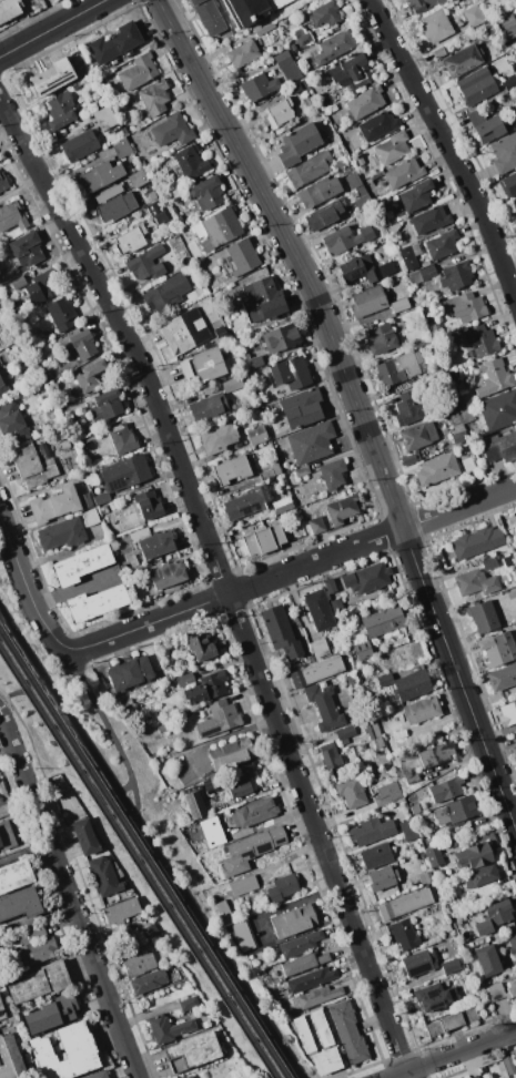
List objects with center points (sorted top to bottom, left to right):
building: (421, 4)
building: (8, 9)
building: (252, 10)
building: (325, 13)
building: (209, 16)
building: (474, 16)
building: (435, 26)
building: (506, 26)
building: (263, 27)
road: (51, 28)
building: (486, 29)
building: (304, 39)
building: (114, 42)
building: (335, 45)
building: (293, 47)
building: (438, 52)
building: (242, 53)
building: (462, 60)
building: (287, 65)
building: (82, 71)
building: (139, 71)
building: (350, 72)
building: (52, 77)
building: (509, 83)
building: (476, 85)
building: (257, 87)
building: (295, 89)
building: (154, 96)
building: (365, 102)
building: (326, 103)
building: (60, 110)
building: (330, 110)
building: (277, 113)
building: (104, 118)
building: (377, 125)
building: (486, 125)
building: (171, 130)
building: (297, 144)
building: (79, 145)
building: (121, 148)
building: (392, 148)
road: (448, 148)
building: (505, 153)
building: (375, 159)
building: (360, 160)
building: (189, 163)
building: (341, 164)
building: (310, 170)
building: (404, 173)
building: (376, 174)
building: (99, 176)
building: (138, 177)
building: (352, 181)
building: (3, 182)
building: (509, 184)
building: (361, 191)
building: (320, 192)
building: (206, 194)
building: (417, 195)
building: (151, 196)
building: (363, 201)
building: (114, 204)
building: (143, 205)
building: (515, 205)
building: (158, 212)
building: (12, 215)
building: (324, 215)
building: (429, 220)
building: (391, 222)
building: (217, 228)
building: (393, 230)
building: (185, 235)
building: (345, 238)
building: (130, 240)
building: (443, 245)
building: (28, 250)
building: (193, 250)
building: (242, 255)
building: (409, 255)
building: (145, 265)
building: (365, 268)
building: (423, 273)
building: (456, 275)
building: (18, 282)
building: (211, 284)
building: (43, 286)
building: (166, 292)
building: (261, 298)
building: (367, 302)
building: (399, 305)
building: (465, 307)
building: (62, 313)
building: (176, 335)
building: (281, 337)
building: (381, 338)
building: (483, 342)
building: (81, 345)
building: (254, 360)
building: (209, 365)
building: (401, 367)
building: (186, 369)
building: (465, 370)
building: (291, 372)
building: (436, 372)
building: (49, 376)
building: (245, 376)
building: (493, 377)
building: (87, 378)
building: (233, 384)
building: (2, 388)
building: (45, 401)
building: (449, 401)
building: (107, 406)
building: (299, 407)
road: (356, 407)
building: (408, 407)
building: (208, 408)
building: (498, 410)
building: (467, 414)
building: (456, 420)
building: (12, 424)
building: (36, 425)
building: (259, 434)
building: (418, 435)
building: (461, 437)
building: (122, 438)
building: (217, 438)
building: (312, 443)
building: (64, 445)
building: (499, 446)
building: (44, 450)
building: (411, 458)
building: (286, 464)
building: (32, 467)
building: (233, 468)
building: (437, 469)
building: (271, 471)
building: (302, 471)
building: (124, 472)
building: (332, 475)
building: (90, 476)
building: (101, 498)
building: (85, 500)
building: (148, 504)
building: (243, 504)
building: (54, 505)
building: (282, 505)
building: (104, 509)
building: (312, 509)
building: (342, 509)
building: (90, 518)
building: (316, 525)
building: (61, 532)
building: (236, 532)
building: (264, 539)
building: (477, 541)
building: (156, 543)
building: (498, 557)
building: (132, 560)
building: (488, 562)
building: (508, 562)
building: (81, 563)
building: (123, 568)
road: (289, 571)
building: (165, 574)
building: (508, 577)
building: (367, 578)
road: (222, 581)
building: (476, 582)
road: (23, 583)
building: (330, 584)
road: (72, 588)
building: (171, 589)
building: (512, 593)
building: (97, 602)
building: (337, 608)
building: (320, 609)
building: (484, 616)
building: (382, 621)
building: (281, 631)
building: (201, 644)
building: (320, 648)
building: (364, 649)
building: (495, 649)
building: (320, 670)
building: (129, 672)
building: (503, 677)
building: (184, 679)
building: (352, 679)
building: (384, 679)
building: (412, 685)
building: (208, 688)
road: (12, 692)
building: (125, 701)
building: (324, 704)
road: (64, 706)
building: (421, 709)
building: (507, 713)
building: (217, 716)
building: (164, 726)
park: (31, 730)
building: (374, 732)
road: (109, 733)
building: (345, 733)
building: (515, 734)
road: (57, 736)
building: (231, 753)
building: (436, 754)
building: (330, 755)
building: (399, 774)
building: (412, 779)
building: (209, 782)
building: (241, 783)
road: (127, 787)
building: (446, 789)
building: (351, 793)
building: (387, 793)
building: (195, 804)
building: (69, 807)
building: (414, 808)
building: (254, 812)
building: (456, 812)
building: (371, 830)
building: (408, 830)
building: (461, 830)
building: (212, 831)
building: (7, 835)
building: (85, 836)
park: (144, 841)
building: (0, 843)
building: (451, 845)
building: (251, 850)
building: (376, 855)
building: (433, 855)
building: (475, 855)
railway: (142, 856)
railway: (136, 864)
building: (16, 875)
building: (104, 876)
building: (480, 876)
building: (426, 877)
building: (382, 878)
building: (243, 885)
building: (282, 887)
road: (69, 896)
building: (19, 904)
building: (405, 904)
building: (121, 911)
building: (223, 912)
building: (499, 912)
building: (294, 921)
building: (447, 927)
building: (496, 930)
building: (403, 934)
building: (141, 935)
building: (244, 935)
road: (214, 943)
building: (300, 944)
building: (513, 945)
building: (34, 946)
building: (251, 956)
building: (487, 959)
building: (139, 962)
building: (171, 962)
building: (304, 963)
building: (418, 963)
building: (452, 966)
building: (57, 975)
building: (310, 979)
building: (150, 980)
building: (28, 986)
building: (509, 987)
building: (493, 991)
building: (318, 996)
building: (434, 997)
building: (189, 1003)
building: (3, 1010)
building: (52, 1013)
building: (452, 1023)
building: (206, 1024)
building: (168, 1028)
building: (322, 1028)
building: (348, 1031)
building: (304, 1035)
building: (79, 1045)
building: (193, 1050)
road: (452, 1054)
building: (10, 1058)
building: (326, 1060)
building: (509, 1065)
building: (504, 1074)
building: (97, 1075)
building: (475, 1076)
building: (189, 1077)
building: (484, 1077)

